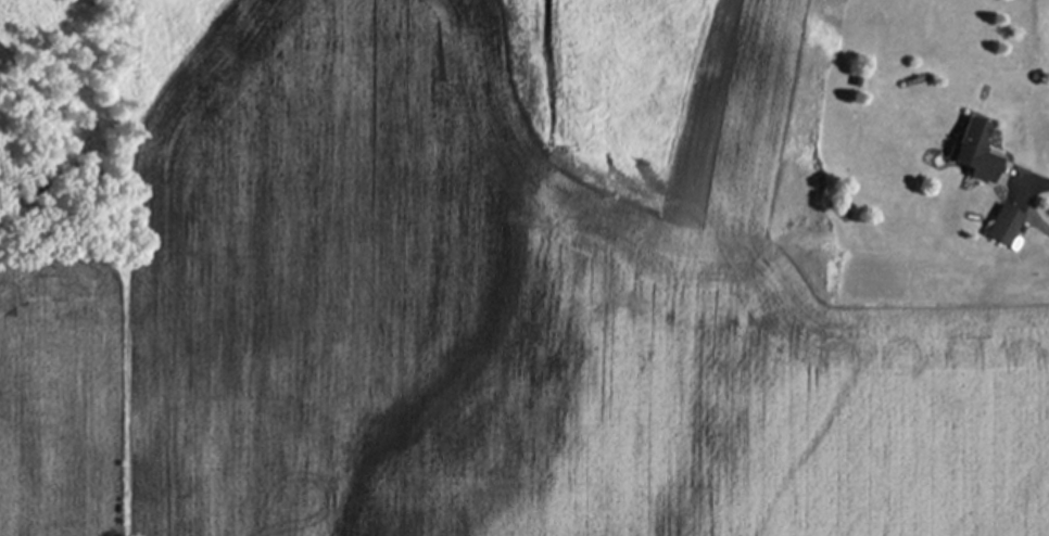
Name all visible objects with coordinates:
building: (982, 150)
road: (1024, 197)
building: (1037, 200)
building: (1008, 224)

